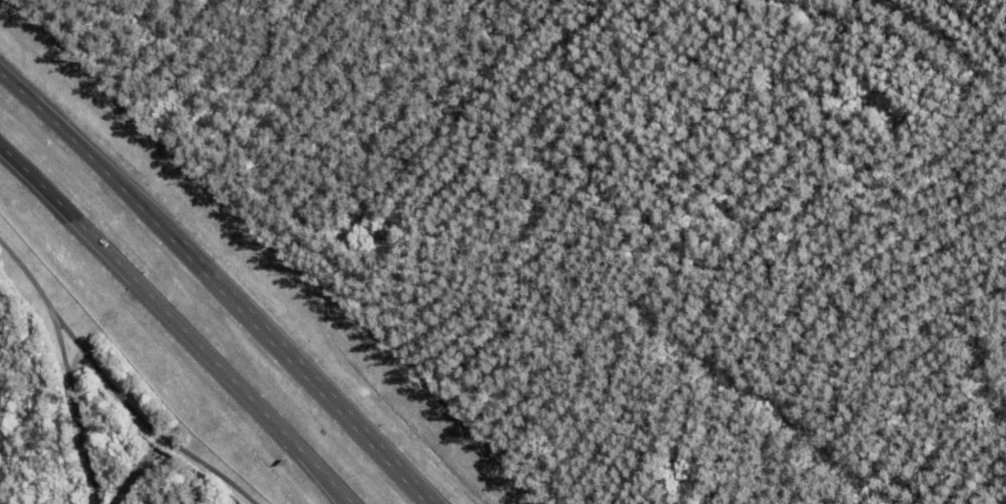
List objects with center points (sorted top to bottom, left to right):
road: (224, 280)
road: (176, 319)
road: (60, 365)
road: (138, 421)

